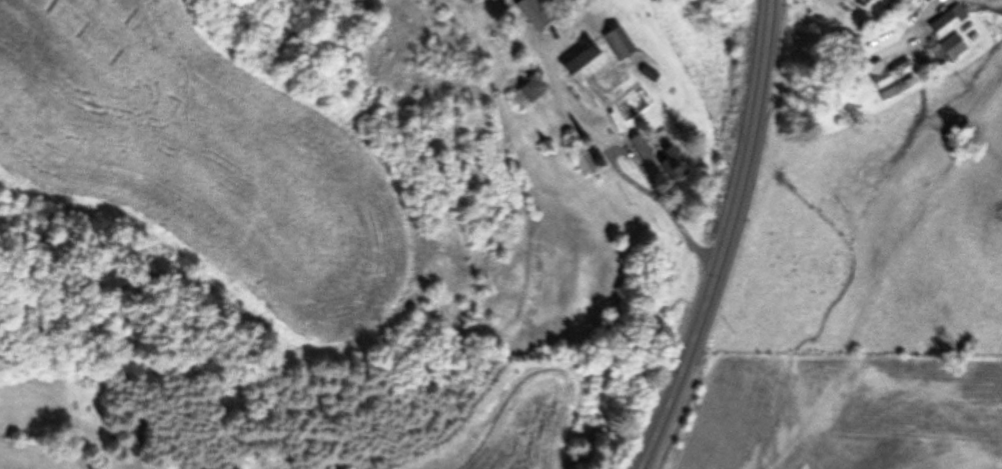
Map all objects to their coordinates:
building: (530, 13)
building: (946, 31)
building: (576, 63)
road: (855, 67)
building: (877, 73)
building: (529, 88)
building: (640, 146)
building: (668, 158)
crop: (202, 172)
road: (727, 240)
crop: (543, 350)
crop: (42, 424)

